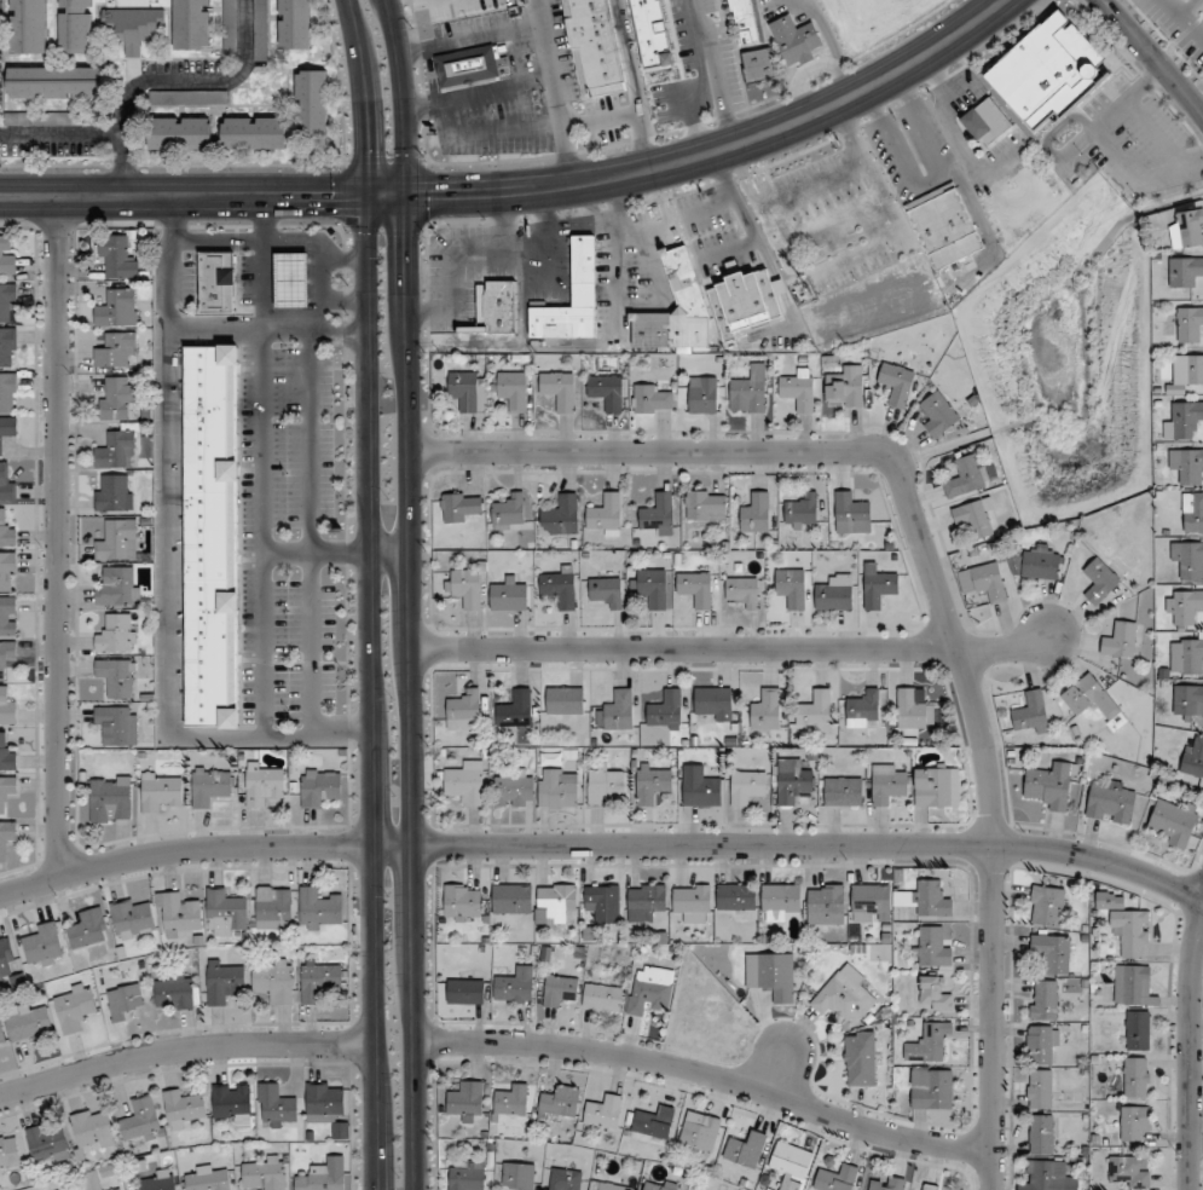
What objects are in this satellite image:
road: (1184, 18)
building: (742, 21)
building: (191, 24)
building: (294, 24)
building: (29, 25)
building: (75, 25)
building: (133, 25)
building: (230, 25)
building: (260, 29)
road: (469, 37)
building: (796, 39)
building: (592, 46)
road: (1153, 56)
building: (758, 63)
building: (468, 65)
building: (1055, 69)
building: (661, 79)
building: (54, 81)
road: (199, 81)
road: (636, 83)
road: (555, 92)
road: (478, 93)
building: (187, 96)
road: (363, 97)
road: (403, 97)
building: (312, 102)
road: (1202, 111)
building: (11, 117)
building: (60, 117)
building: (985, 121)
building: (181, 132)
building: (254, 132)
road: (89, 133)
road: (723, 148)
traffic signals: (364, 150)
road: (386, 196)
traffic signals: (438, 196)
road: (181, 197)
traffic signals: (332, 197)
building: (806, 213)
road: (172, 218)
building: (944, 225)
building: (1187, 229)
road: (754, 237)
traffic signals: (407, 243)
building: (451, 250)
building: (7, 254)
building: (116, 258)
road: (345, 258)
road: (264, 261)
building: (1185, 271)
building: (683, 278)
building: (293, 279)
building: (218, 282)
building: (572, 297)
road: (345, 299)
building: (7, 301)
building: (744, 301)
building: (498, 305)
building: (116, 307)
building: (1190, 323)
road: (238, 327)
road: (339, 335)
building: (7, 346)
building: (115, 350)
building: (1193, 369)
building: (895, 382)
building: (845, 386)
building: (468, 388)
building: (511, 388)
building: (798, 388)
building: (557, 389)
building: (748, 389)
building: (606, 391)
building: (7, 392)
building: (702, 394)
building: (116, 398)
building: (652, 398)
building: (938, 414)
building: (1184, 421)
building: (6, 429)
building: (117, 447)
building: (1187, 463)
building: (964, 475)
building: (6, 484)
building: (114, 491)
building: (705, 504)
building: (459, 506)
building: (850, 508)
building: (509, 510)
building: (802, 512)
building: (1192, 512)
building: (605, 513)
building: (657, 513)
building: (756, 513)
building: (560, 514)
building: (974, 516)
building: (7, 531)
road: (260, 531)
road: (57, 536)
building: (212, 536)
building: (117, 539)
road: (313, 551)
road: (388, 551)
building: (1188, 558)
building: (1036, 564)
building: (7, 571)
building: (1099, 579)
building: (983, 580)
road: (936, 583)
building: (467, 585)
building: (653, 585)
building: (791, 585)
building: (117, 587)
building: (560, 587)
building: (693, 587)
building: (878, 587)
building: (607, 590)
building: (744, 590)
building: (834, 593)
building: (508, 595)
building: (1185, 606)
building: (8, 616)
building: (116, 632)
building: (1121, 639)
road: (731, 647)
building: (1191, 655)
building: (7, 657)
building: (117, 677)
road: (368, 693)
road: (410, 693)
building: (1089, 698)
building: (565, 699)
building: (713, 701)
building: (1188, 703)
building: (7, 707)
building: (515, 707)
building: (665, 707)
building: (767, 709)
building: (863, 709)
building: (913, 709)
building: (464, 710)
building: (619, 710)
building: (815, 710)
building: (1030, 712)
building: (116, 723)
road: (340, 727)
road: (175, 735)
building: (1193, 757)
building: (792, 780)
building: (467, 781)
building: (264, 782)
building: (652, 782)
building: (605, 784)
building: (887, 784)
building: (209, 785)
building: (700, 785)
building: (746, 785)
building: (937, 785)
building: (1051, 785)
building: (320, 786)
building: (557, 787)
building: (514, 788)
building: (844, 791)
building: (161, 792)
building: (111, 798)
building: (1111, 801)
building: (1173, 820)
building: (7, 836)
road: (603, 845)
building: (736, 896)
building: (511, 897)
building: (692, 897)
building: (930, 897)
building: (557, 900)
building: (779, 900)
building: (603, 901)
building: (644, 901)
building: (461, 902)
building: (825, 902)
building: (871, 902)
building: (1046, 905)
building: (273, 906)
building: (320, 908)
building: (225, 912)
building: (178, 913)
building: (132, 918)
building: (88, 928)
building: (1132, 931)
building: (44, 945)
building: (930, 947)
building: (1052, 952)
building: (6, 959)
building: (770, 975)
building: (319, 977)
building: (274, 981)
building: (224, 982)
building: (515, 984)
building: (1133, 986)
building: (465, 989)
building: (559, 989)
building: (650, 989)
building: (173, 992)
building: (935, 993)
building: (844, 995)
building: (602, 997)
building: (1043, 999)
building: (123, 1000)
building: (74, 1006)
building: (29, 1021)
building: (1137, 1029)
building: (1, 1033)
building: (927, 1041)
building: (1042, 1044)
road: (183, 1049)
road: (1191, 1049)
building: (860, 1057)
road: (777, 1065)
road: (707, 1073)
building: (1135, 1076)
building: (1040, 1088)
building: (933, 1090)
building: (511, 1099)
building: (465, 1101)
building: (231, 1102)
building: (324, 1102)
building: (560, 1103)
building: (277, 1104)
building: (184, 1109)
building: (603, 1110)
building: (140, 1120)
building: (654, 1121)
building: (1135, 1122)
building: (91, 1128)
building: (699, 1131)
building: (1041, 1133)
building: (47, 1144)
building: (745, 1148)
building: (8, 1153)
building: (790, 1165)
building: (1129, 1171)
building: (265, 1172)
building: (467, 1175)
building: (519, 1175)
building: (208, 1177)
building: (1049, 1177)
building: (322, 1178)
building: (835, 1178)
building: (566, 1179)
building: (158, 1180)
building: (659, 1184)
building: (889, 1184)
building: (606, 1185)
building: (100, 1188)
building: (931, 1188)

